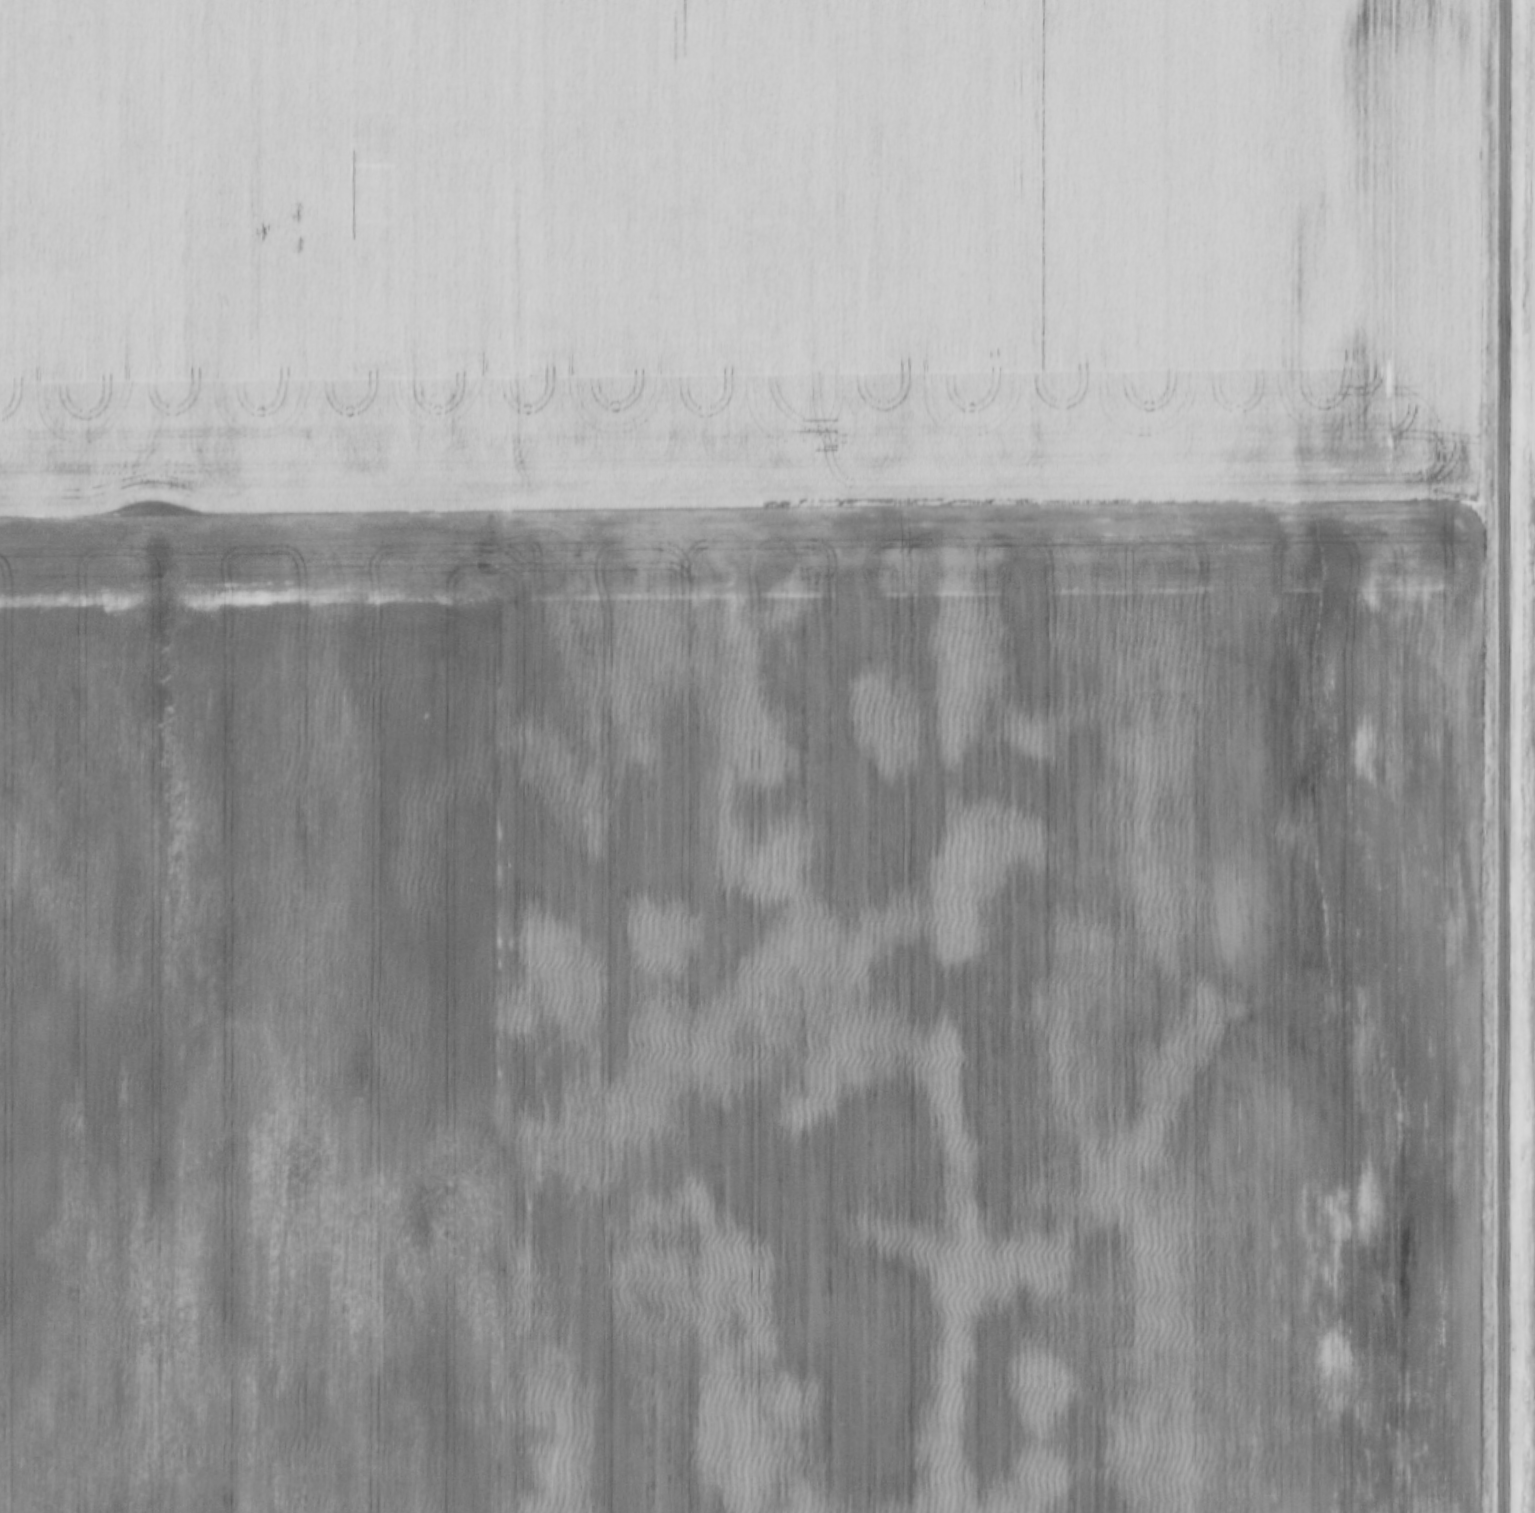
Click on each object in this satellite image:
road: (1501, 756)

